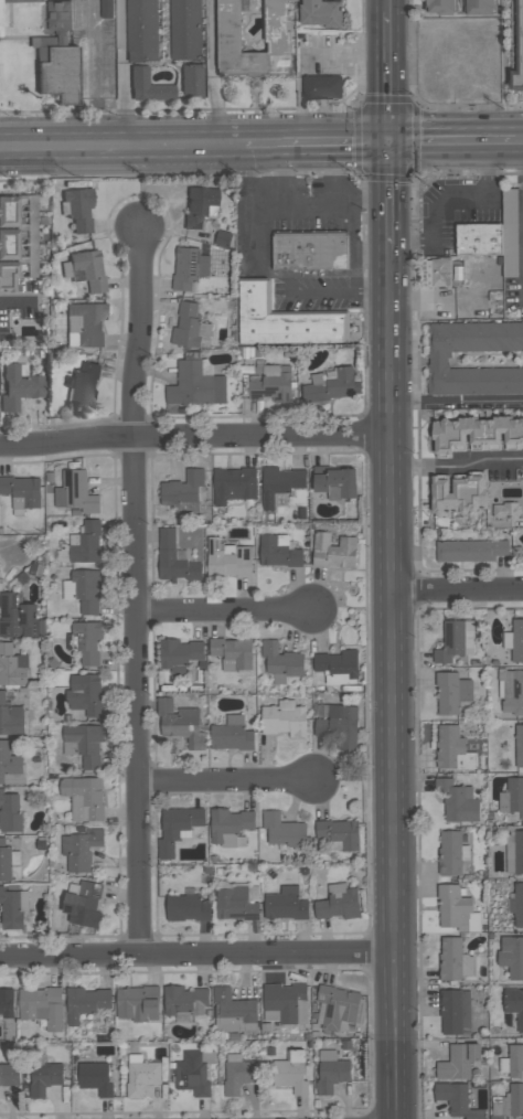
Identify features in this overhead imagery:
road: (385, 6)
building: (440, 6)
building: (481, 7)
building: (106, 9)
building: (321, 13)
building: (1, 14)
building: (141, 30)
building: (185, 30)
building: (521, 36)
road: (213, 38)
building: (254, 38)
road: (339, 51)
building: (58, 56)
road: (99, 75)
road: (386, 78)
building: (191, 82)
building: (148, 86)
building: (321, 87)
road: (299, 106)
road: (216, 111)
road: (334, 146)
traffic signals: (386, 146)
road: (452, 146)
road: (521, 146)
road: (264, 147)
road: (233, 148)
road: (110, 149)
road: (284, 177)
road: (332, 177)
road: (386, 198)
building: (200, 205)
road: (311, 206)
road: (370, 206)
building: (78, 207)
building: (510, 232)
building: (17, 239)
building: (479, 239)
building: (309, 252)
building: (189, 267)
building: (87, 268)
building: (446, 271)
road: (353, 273)
road: (291, 289)
building: (284, 321)
building: (86, 322)
building: (189, 327)
building: (474, 358)
building: (270, 382)
building: (84, 384)
building: (19, 385)
building: (195, 385)
building: (330, 385)
road: (456, 403)
building: (477, 434)
road: (194, 435)
road: (457, 467)
building: (335, 482)
building: (279, 483)
building: (233, 484)
building: (182, 488)
building: (21, 492)
building: (75, 492)
building: (458, 493)
building: (504, 510)
building: (85, 543)
building: (278, 551)
building: (333, 551)
building: (470, 551)
building: (228, 558)
building: (174, 559)
building: (83, 589)
road: (137, 590)
road: (457, 592)
road: (225, 612)
building: (20, 618)
building: (455, 640)
building: (514, 640)
building: (85, 641)
road: (392, 647)
building: (233, 652)
building: (180, 654)
building: (281, 662)
building: (12, 665)
building: (338, 667)
building: (451, 691)
building: (510, 691)
building: (85, 694)
building: (11, 718)
building: (285, 718)
building: (180, 723)
building: (339, 724)
building: (232, 734)
building: (84, 744)
building: (519, 745)
building: (452, 749)
building: (10, 765)
road: (225, 780)
building: (84, 797)
building: (512, 797)
building: (457, 800)
building: (10, 812)
building: (230, 827)
building: (178, 828)
building: (284, 829)
building: (340, 834)
building: (81, 849)
building: (451, 852)
building: (514, 852)
building: (7, 860)
building: (338, 902)
building: (84, 904)
building: (235, 904)
building: (285, 904)
building: (517, 904)
building: (183, 907)
building: (13, 908)
building: (456, 908)
road: (198, 952)
building: (512, 956)
building: (453, 959)
building: (84, 1002)
building: (184, 1002)
building: (138, 1003)
building: (286, 1003)
building: (7, 1004)
building: (514, 1004)
building: (42, 1005)
building: (337, 1008)
building: (455, 1011)
building: (234, 1012)
building: (458, 1062)
building: (512, 1062)
building: (194, 1072)
building: (291, 1072)
building: (331, 1072)
building: (10, 1074)
building: (238, 1074)
building: (141, 1075)
building: (44, 1076)
building: (95, 1077)
road: (396, 1081)
building: (457, 1099)
building: (509, 1102)

